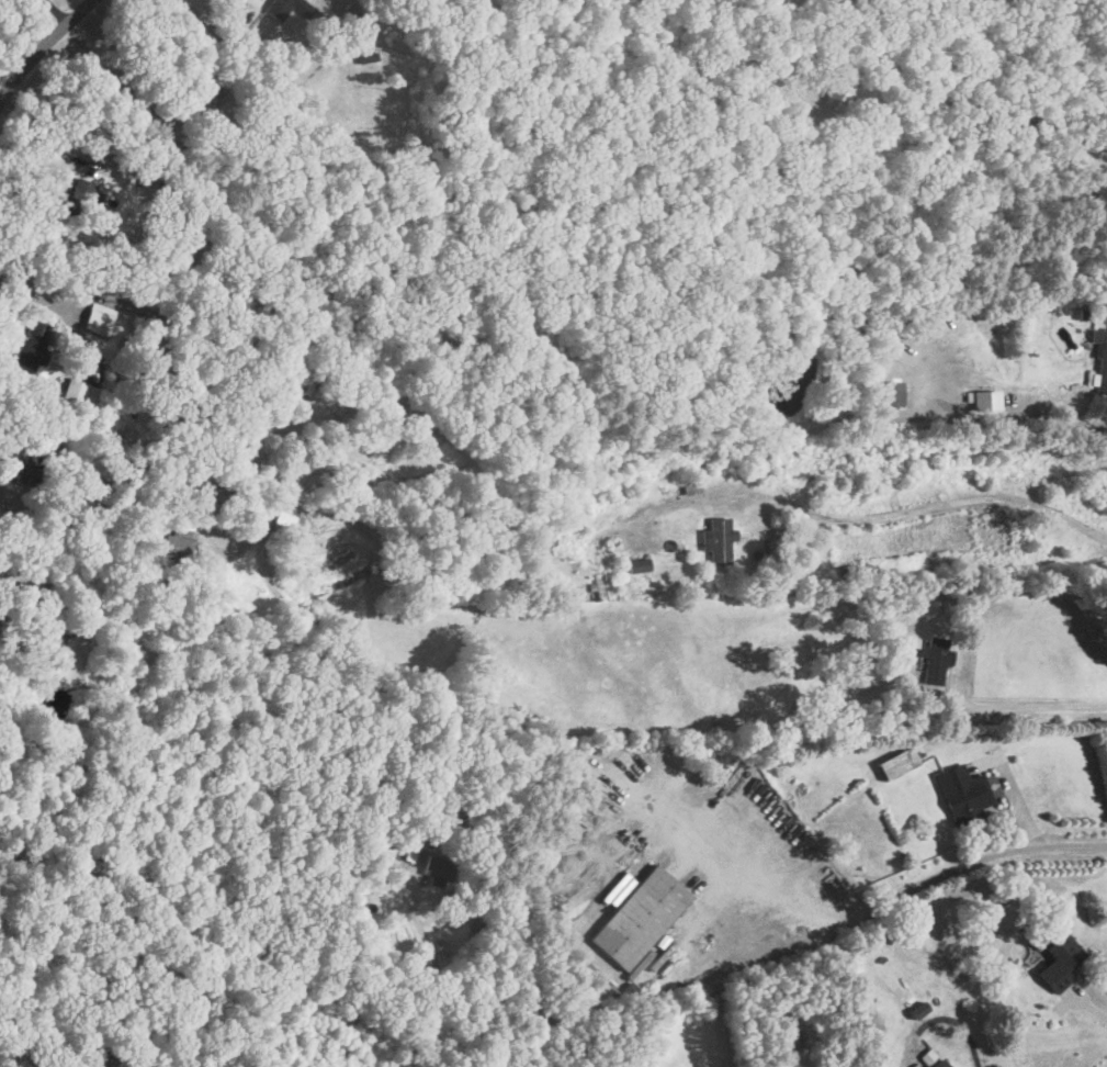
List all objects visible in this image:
building: (276, 8)
road: (58, 11)
building: (354, 21)
road: (44, 45)
road: (117, 78)
building: (837, 96)
building: (201, 105)
road: (44, 155)
building: (78, 198)
road: (35, 296)
building: (31, 347)
building: (1100, 360)
building: (893, 392)
building: (71, 394)
building: (983, 401)
road: (92, 445)
building: (19, 472)
road: (941, 503)
building: (172, 506)
building: (282, 529)
building: (178, 537)
building: (718, 540)
road: (241, 546)
building: (636, 565)
building: (573, 566)
building: (935, 662)
road: (1030, 706)
building: (895, 762)
road: (1010, 790)
building: (962, 793)
building: (436, 867)
road: (858, 911)
building: (639, 918)
building: (1059, 959)
road: (437, 971)
road: (1086, 1002)
road: (942, 1015)
building: (790, 1043)
building: (937, 1064)

